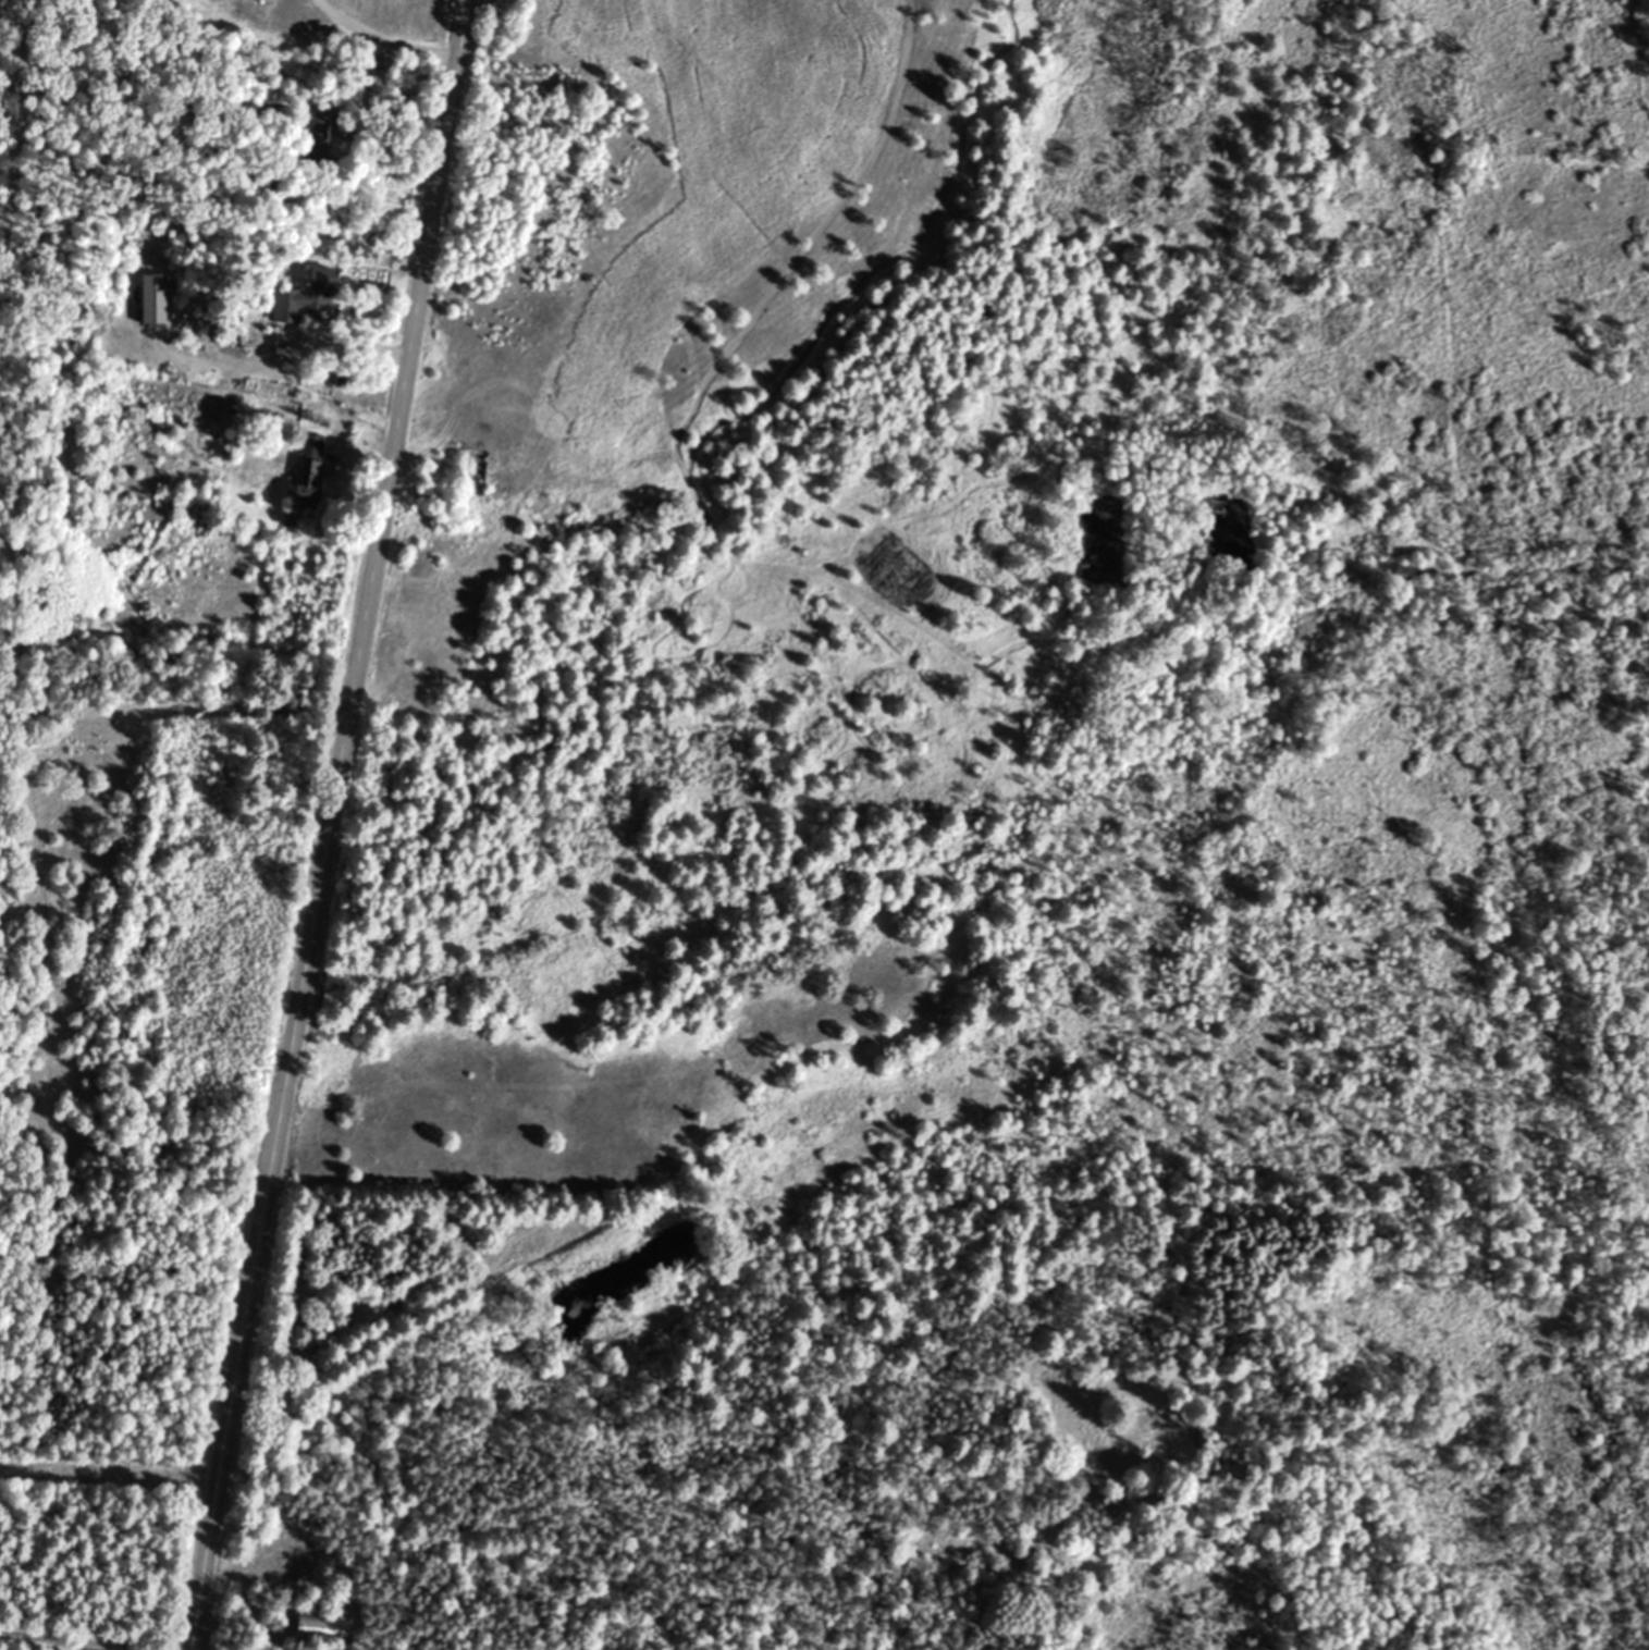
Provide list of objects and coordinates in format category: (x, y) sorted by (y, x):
building: (257, 0)
road: (380, 44)
building: (317, 133)
building: (307, 297)
building: (310, 467)
road: (337, 825)
building: (1190, 1439)
road: (239, 1592)
building: (319, 1627)

